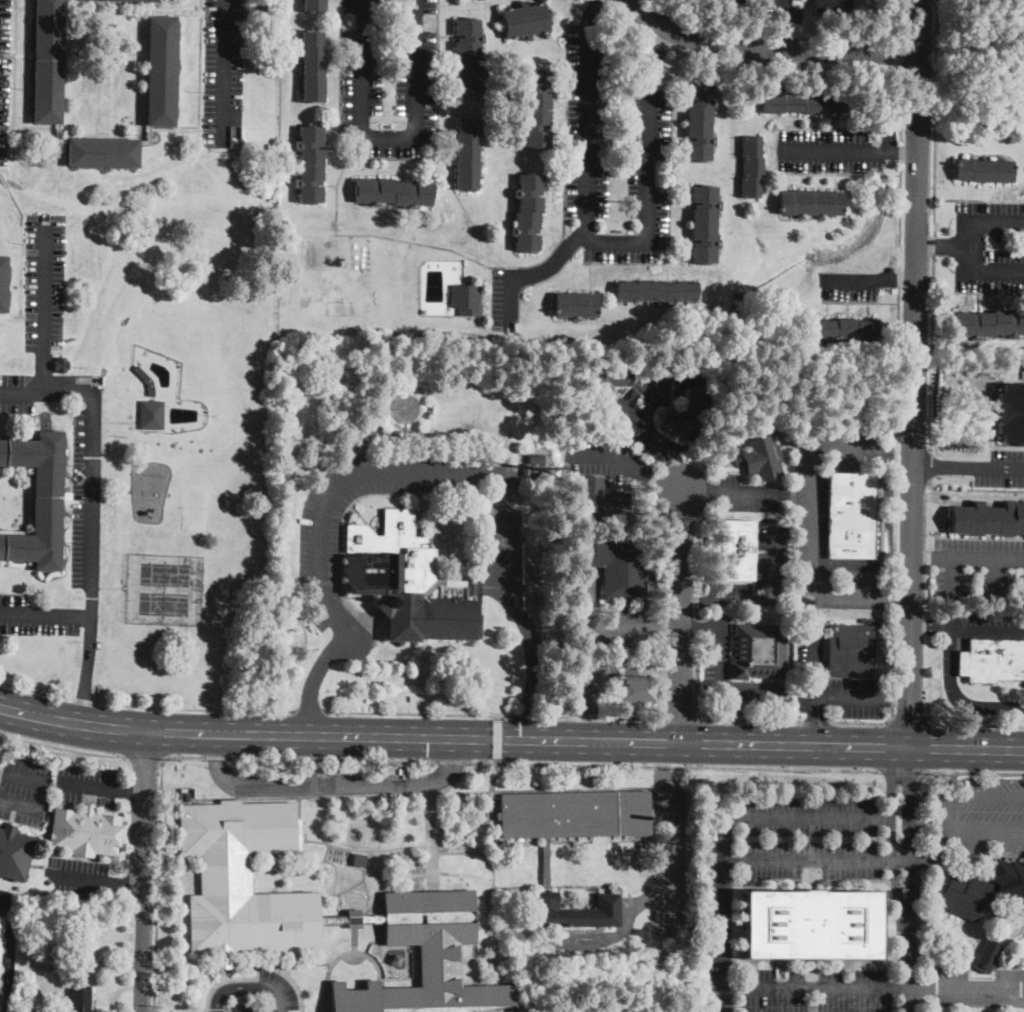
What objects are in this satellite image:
building: (121, 0)
building: (725, 2)
building: (314, 5)
building: (831, 6)
road: (594, 12)
road: (903, 19)
building: (525, 21)
road: (783, 24)
road: (767, 49)
road: (655, 50)
road: (902, 54)
building: (469, 57)
building: (48, 62)
road: (14, 64)
road: (743, 66)
building: (313, 67)
road: (919, 70)
building: (161, 71)
parking lot: (223, 72)
road: (222, 73)
parking lot: (5, 78)
parking lot: (388, 79)
building: (803, 102)
building: (538, 108)
building: (699, 122)
road: (389, 136)
parking lot: (614, 148)
parking lot: (828, 151)
road: (830, 151)
building: (103, 153)
road: (900, 153)
building: (468, 155)
building: (311, 164)
building: (751, 167)
building: (984, 170)
building: (393, 192)
building: (810, 202)
building: (529, 213)
building: (705, 225)
road: (934, 225)
road: (592, 241)
road: (971, 245)
road: (944, 246)
parking lot: (990, 246)
road: (529, 273)
road: (868, 279)
parking lot: (45, 282)
building: (3, 283)
parking lot: (849, 285)
building: (658, 292)
parking lot: (505, 298)
building: (467, 299)
building: (576, 305)
building: (990, 323)
building: (847, 329)
road: (46, 333)
building: (61, 362)
road: (915, 372)
building: (146, 379)
building: (607, 381)
parking lot: (17, 393)
road: (896, 396)
parking lot: (658, 400)
building: (1011, 414)
building: (152, 415)
building: (687, 415)
road: (645, 418)
road: (977, 454)
building: (762, 456)
parking lot: (606, 458)
building: (535, 459)
road: (629, 465)
road: (968, 465)
road: (929, 466)
parking lot: (1001, 468)
road: (415, 470)
building: (526, 470)
building: (539, 478)
road: (929, 484)
road: (728, 493)
parking lot: (750, 494)
building: (37, 499)
parking lot: (80, 500)
building: (602, 502)
parking lot: (805, 515)
building: (851, 515)
road: (811, 517)
building: (985, 519)
road: (89, 526)
parking lot: (319, 541)
building: (736, 550)
road: (967, 560)
building: (621, 565)
parking lot: (761, 569)
parking lot: (977, 569)
road: (951, 579)
road: (995, 580)
building: (407, 583)
park: (163, 590)
road: (775, 595)
road: (696, 601)
parking lot: (36, 616)
road: (680, 616)
parking lot: (602, 619)
parking lot: (983, 622)
road: (967, 623)
road: (607, 627)
road: (699, 627)
building: (102, 640)
parking lot: (809, 646)
building: (760, 651)
building: (851, 651)
road: (587, 657)
parking lot: (715, 658)
building: (992, 660)
road: (300, 664)
road: (84, 668)
parking lot: (949, 673)
parking lot: (599, 675)
road: (696, 676)
road: (717, 685)
road: (36, 689)
building: (639, 690)
road: (956, 692)
road: (814, 693)
road: (83, 698)
road: (896, 699)
road: (193, 707)
road: (310, 712)
road: (421, 713)
road: (529, 716)
road: (601, 716)
road: (679, 717)
road: (749, 719)
road: (814, 721)
road: (816, 721)
road: (860, 722)
road: (909, 722)
road: (977, 724)
road: (222, 734)
traffic signals: (428, 737)
road: (497, 738)
traffic signals: (520, 739)
road: (735, 742)
road: (64, 747)
road: (214, 757)
road: (331, 759)
road: (143, 760)
road: (453, 761)
road: (661, 763)
road: (674, 765)
road: (446, 766)
road: (216, 768)
road: (902, 772)
road: (946, 773)
road: (974, 773)
road: (16, 776)
road: (453, 782)
parking lot: (332, 783)
parking lot: (87, 784)
road: (91, 785)
road: (334, 788)
road: (132, 789)
parking lot: (24, 790)
road: (450, 793)
road: (651, 797)
road: (985, 801)
road: (22, 805)
road: (918, 811)
road: (809, 817)
parking lot: (981, 817)
road: (299, 818)
road: (945, 818)
road: (484, 822)
road: (910, 828)
road: (890, 829)
building: (85, 832)
road: (985, 833)
road: (431, 840)
road: (355, 846)
road: (365, 849)
road: (326, 852)
building: (14, 853)
road: (933, 855)
road: (669, 858)
road: (818, 859)
road: (158, 862)
building: (547, 865)
parking lot: (664, 867)
road: (140, 871)
road: (80, 878)
parking lot: (81, 878)
road: (125, 884)
road: (564, 885)
building: (982, 889)
road: (6, 894)
parking lot: (5, 900)
building: (254, 902)
road: (338, 909)
road: (626, 913)
road: (726, 914)
parking lot: (719, 924)
building: (811, 925)
road: (483, 926)
building: (1, 932)
road: (354, 932)
building: (641, 933)
parking lot: (569, 943)
building: (78, 947)
road: (500, 951)
road: (572, 951)
road: (8, 953)
road: (341, 955)
building: (988, 956)
road: (908, 962)
road: (284, 963)
road: (117, 964)
road: (227, 978)
road: (388, 978)
road: (293, 979)
road: (249, 986)
parking lot: (280, 986)
parking lot: (977, 987)
road: (817, 988)
road: (920, 989)
road: (977, 989)
road: (120, 993)
building: (80, 1000)
parking lot: (244, 1007)
road: (228, 1008)
road: (152, 1009)
road: (155, 1009)

